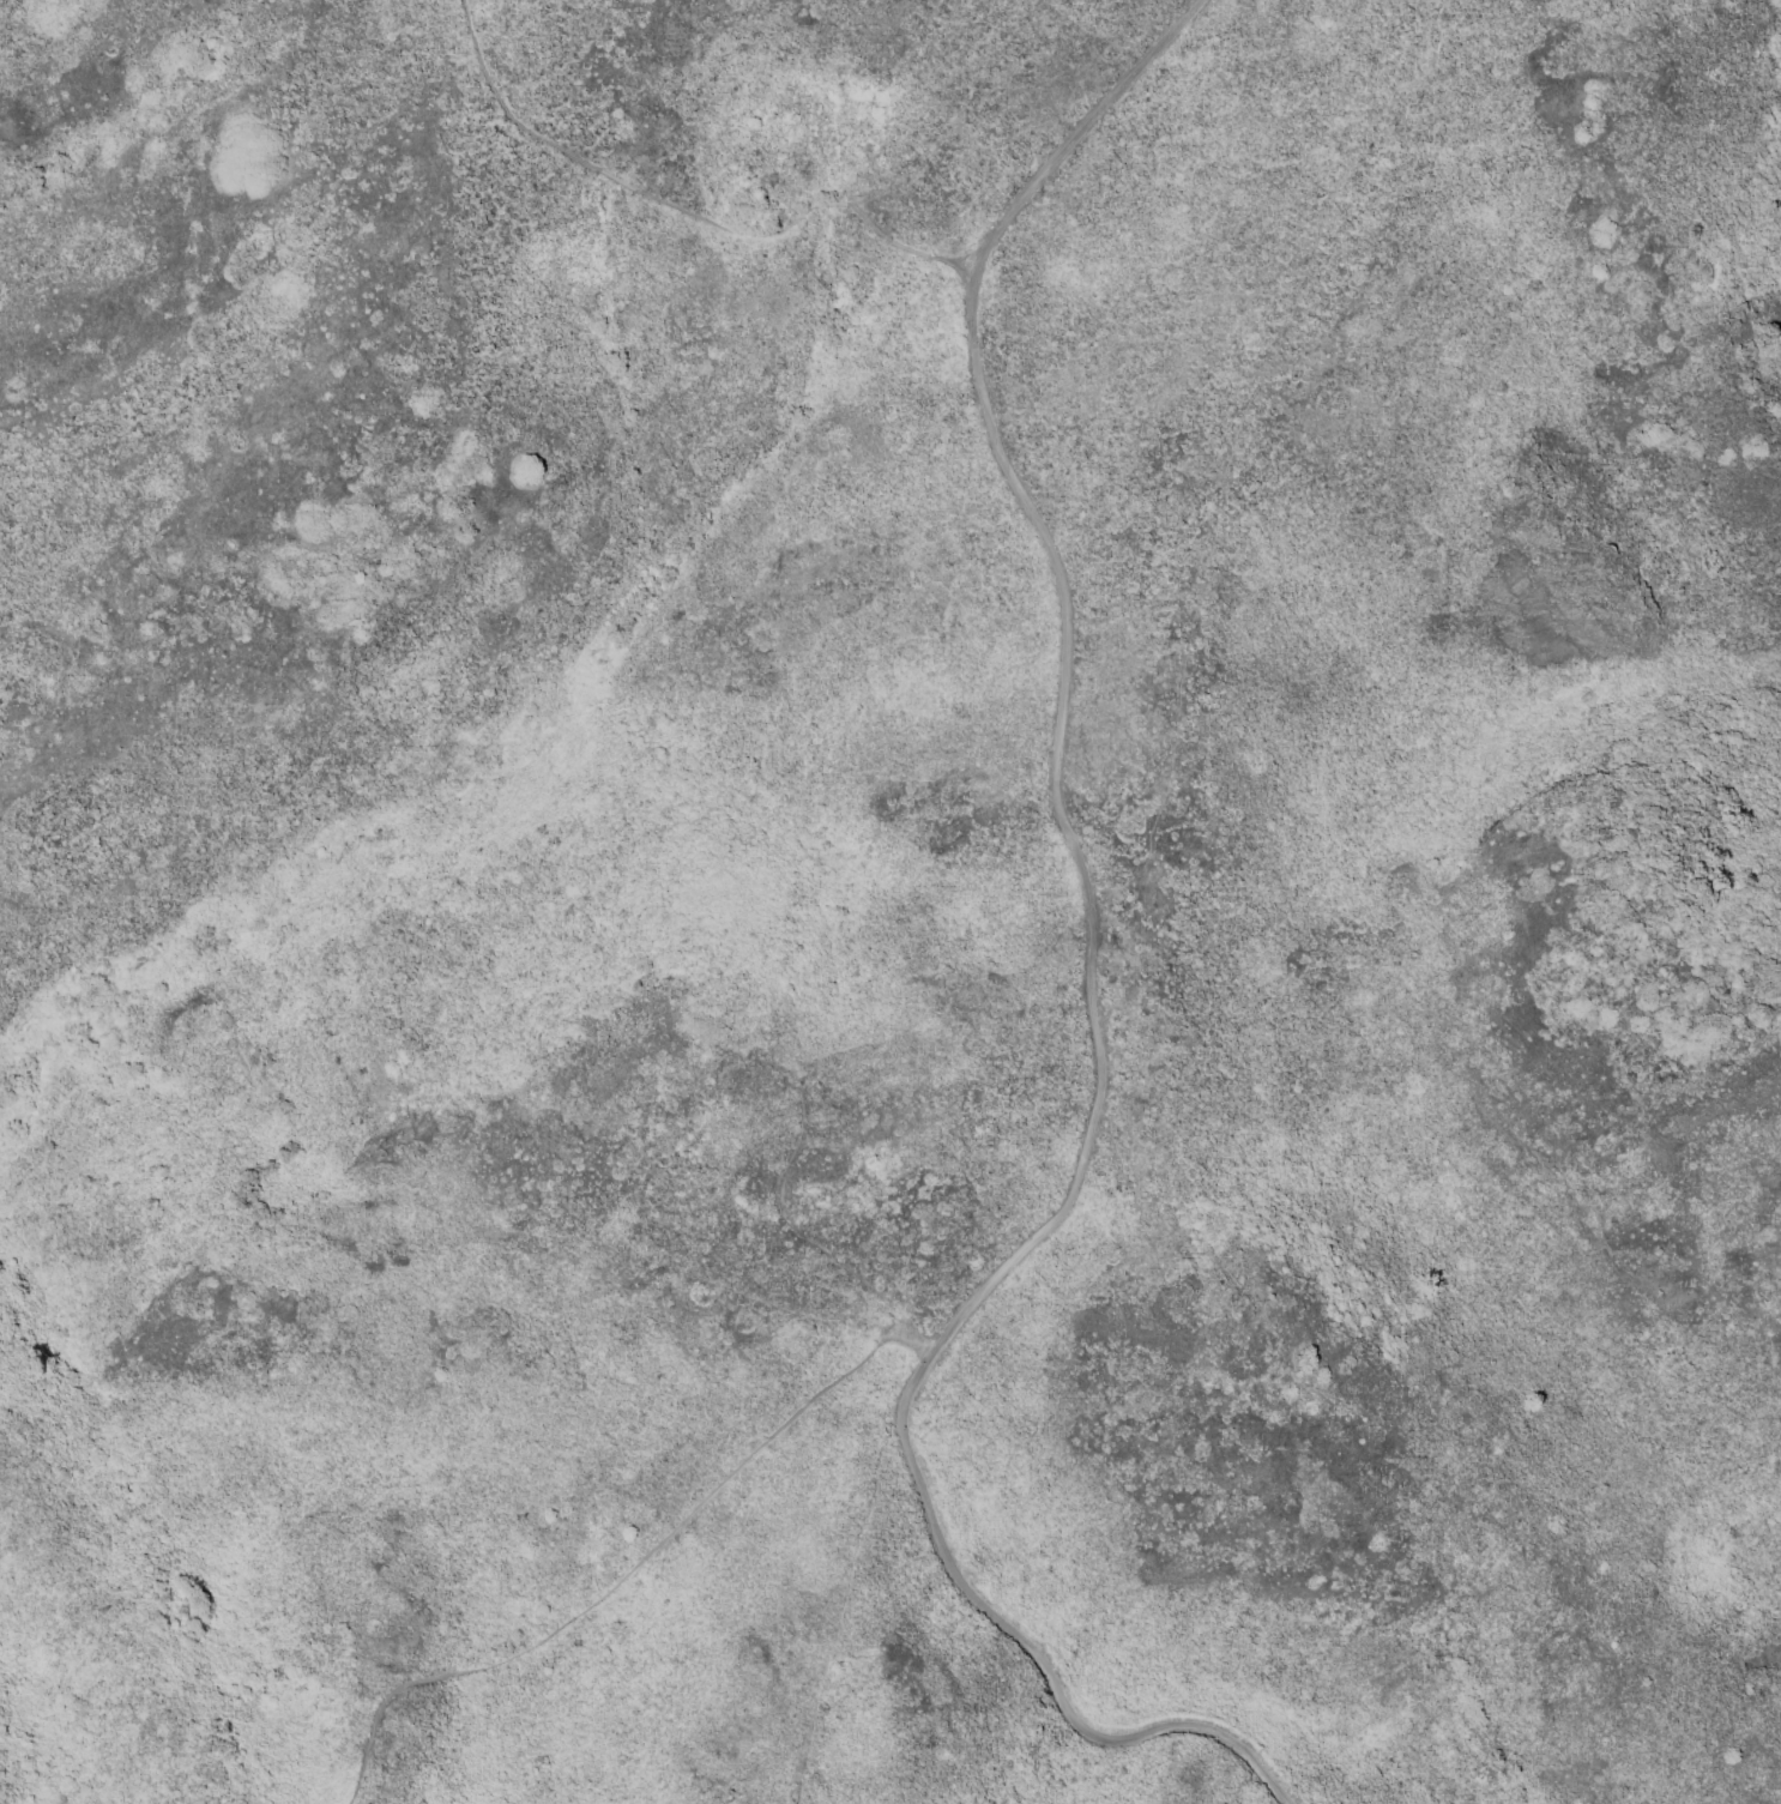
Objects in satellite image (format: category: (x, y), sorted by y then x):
road: (1088, 129)
road: (683, 211)
road: (1080, 1166)
road: (627, 1568)

